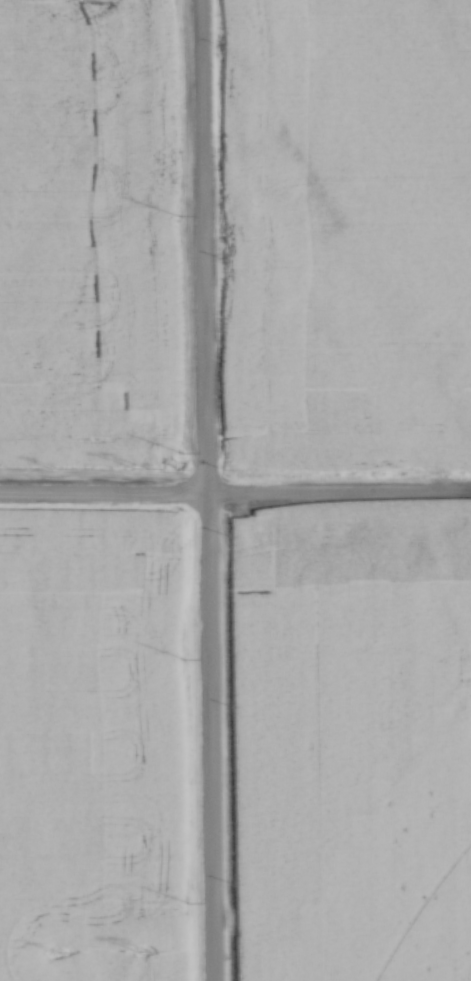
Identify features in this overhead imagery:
power tower: (134, 466)
power tower: (50, 467)
road: (204, 490)
road: (235, 490)
power tower: (140, 948)
power tower: (54, 950)

